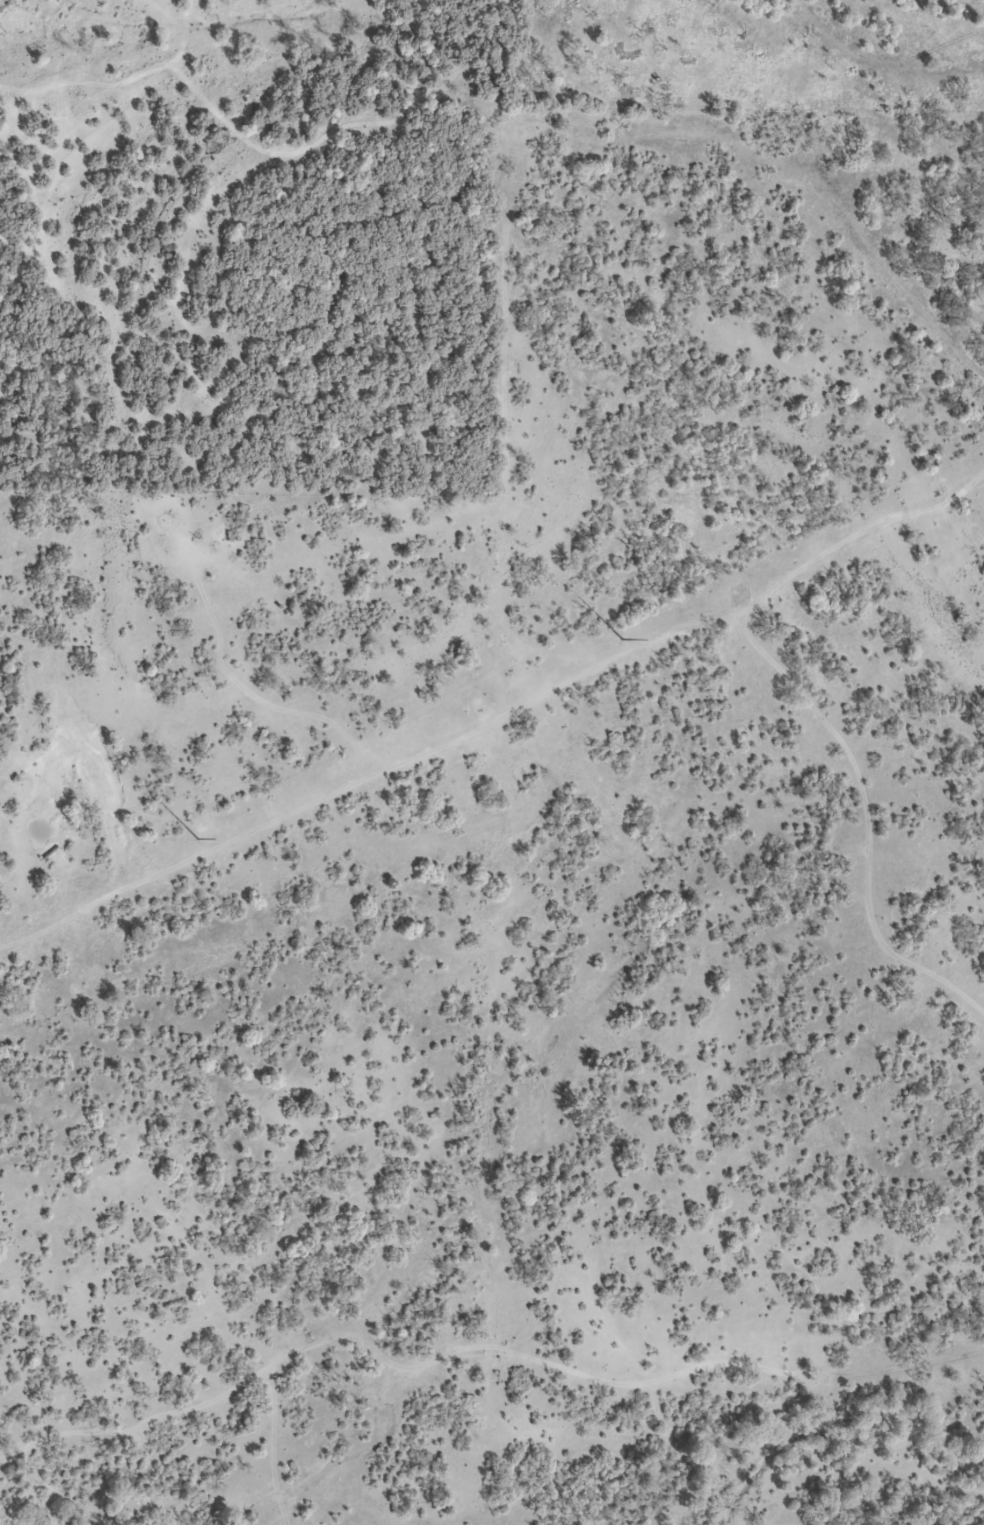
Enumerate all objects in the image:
power tower: (624, 640)
road: (540, 816)
power tower: (201, 839)

